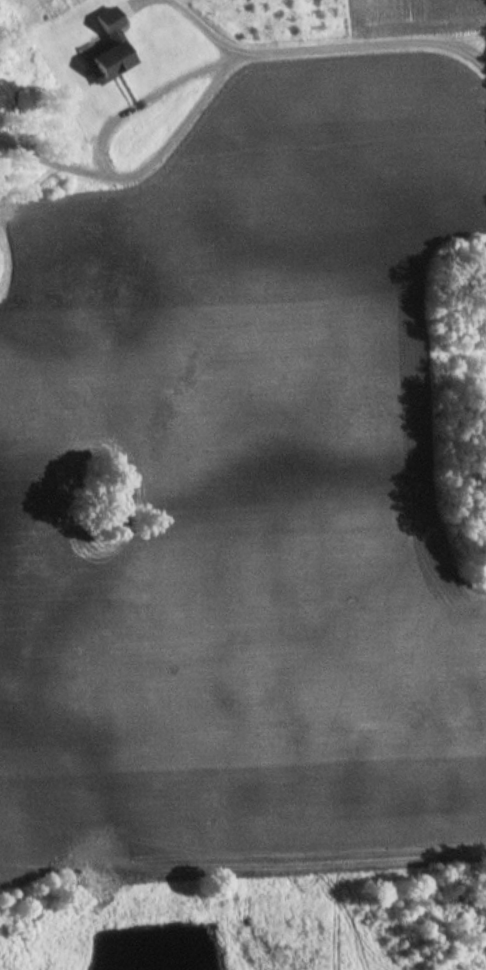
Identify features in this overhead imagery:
road: (318, 47)
building: (103, 49)
road: (53, 162)
road: (105, 166)

